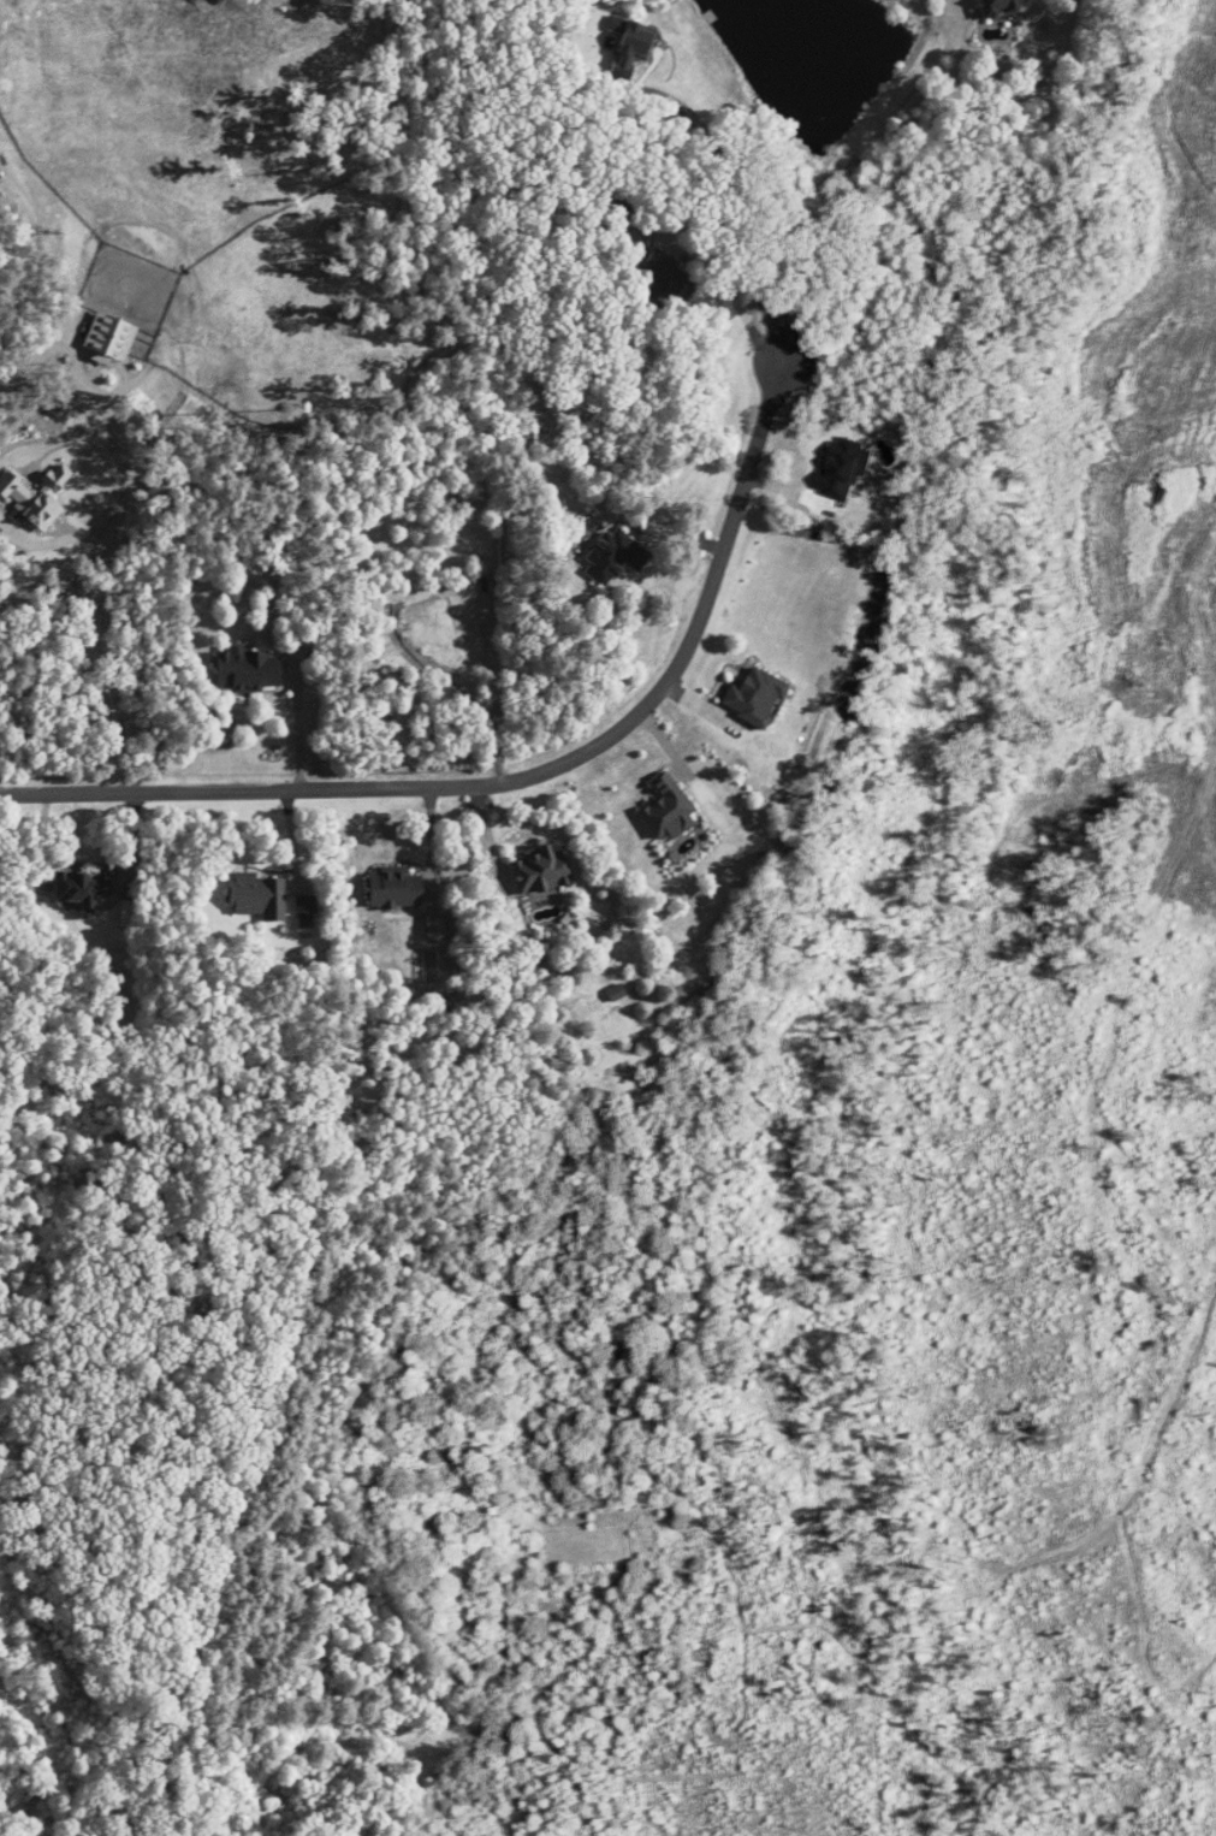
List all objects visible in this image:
building: (1000, 6)
building: (630, 43)
building: (613, 211)
road: (753, 219)
building: (668, 286)
road: (730, 291)
building: (615, 557)
road: (91, 581)
building: (247, 670)
building: (754, 697)
road: (297, 725)
road: (526, 775)
building: (666, 809)
building: (539, 870)
building: (393, 888)
building: (81, 889)
building: (256, 896)

